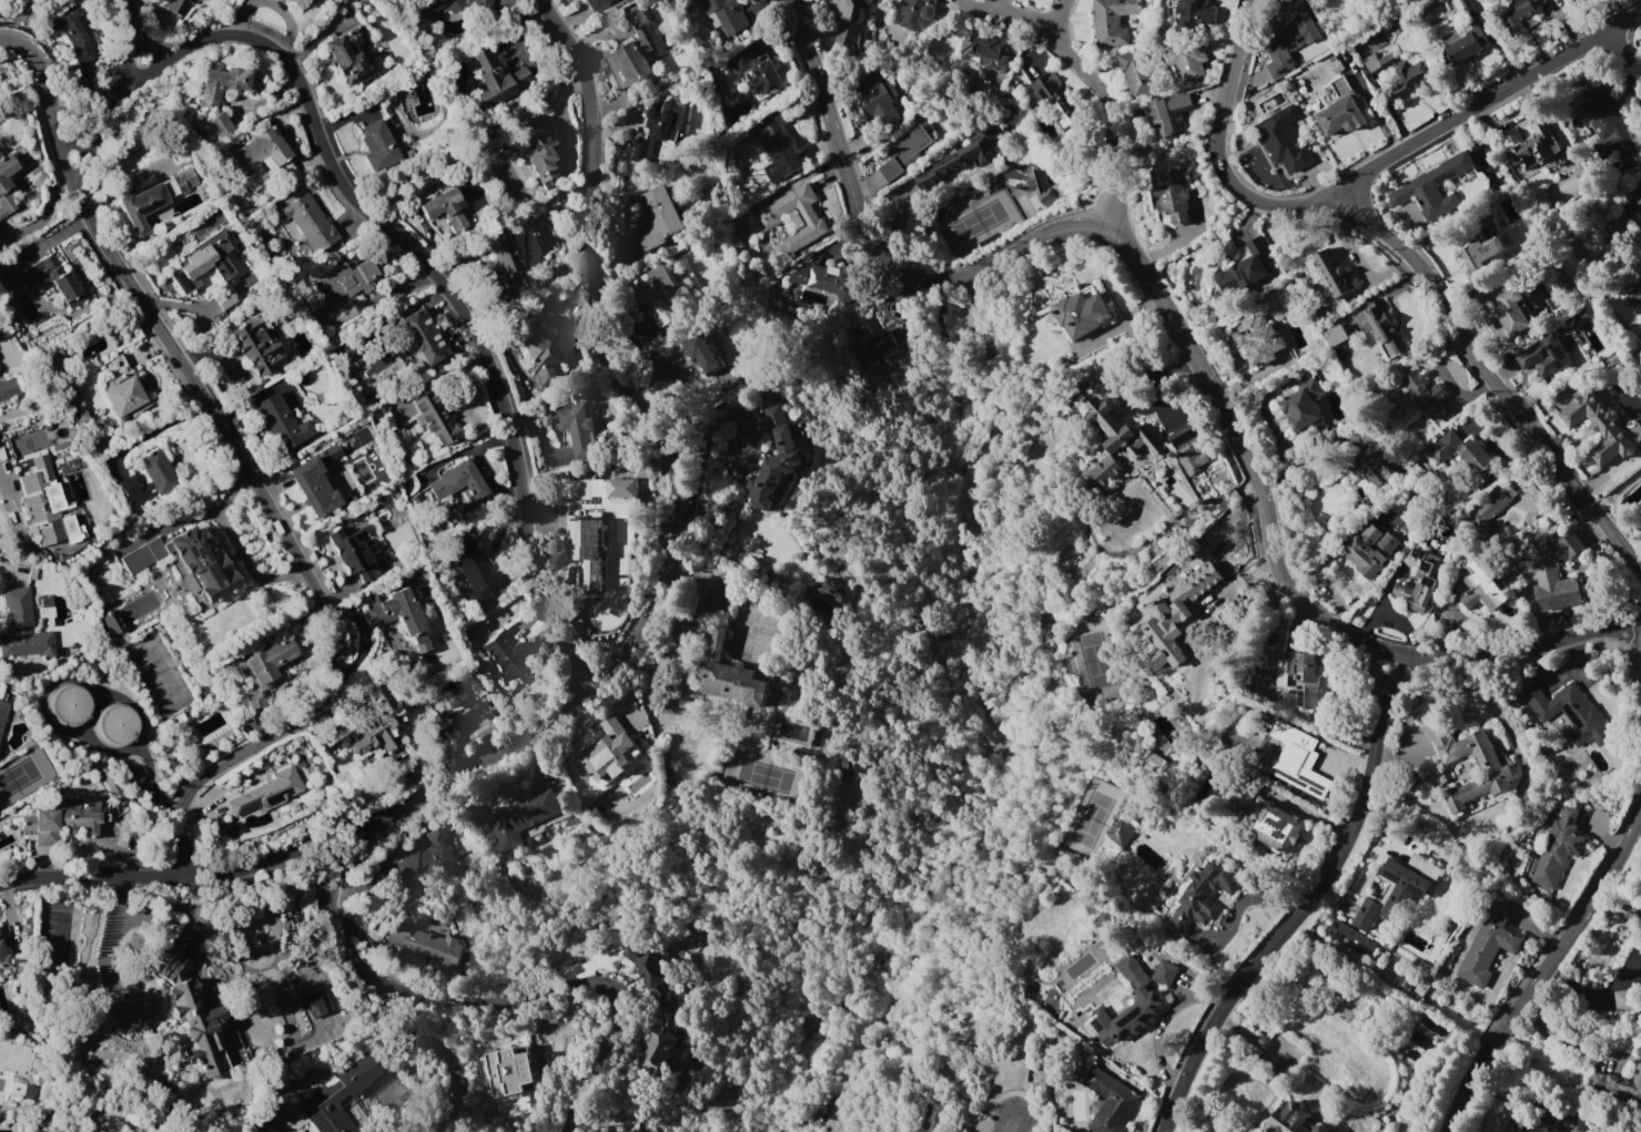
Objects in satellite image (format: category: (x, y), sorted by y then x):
building: (0, 0)
building: (933, 0)
building: (302, 2)
building: (480, 3)
building: (596, 3)
building: (179, 6)
building: (439, 7)
building: (1197, 12)
building: (1518, 13)
building: (913, 14)
building: (722, 17)
road: (1020, 17)
building: (1112, 21)
road: (131, 23)
building: (71, 32)
building: (1467, 35)
building: (1278, 43)
road: (152, 47)
building: (986, 50)
road: (1235, 50)
building: (634, 52)
building: (347, 54)
building: (1377, 61)
building: (1188, 62)
road: (1623, 67)
building: (756, 74)
building: (1128, 74)
building: (494, 78)
building: (1411, 78)
building: (222, 83)
building: (1049, 91)
building: (875, 103)
road: (1491, 106)
building: (1340, 110)
road: (1100, 111)
building: (1169, 111)
building: (1604, 122)
road: (104, 124)
building: (220, 124)
building: (654, 134)
road: (79, 135)
building: (1284, 140)
building: (378, 145)
building: (777, 145)
building: (1533, 147)
building: (537, 149)
building: (906, 149)
building: (262, 150)
building: (958, 159)
building: (6, 184)
building: (1430, 188)
building: (1173, 197)
building: (154, 198)
building: (444, 208)
building: (1634, 214)
building: (657, 217)
building: (769, 218)
building: (308, 221)
road: (1112, 235)
building: (502, 254)
building: (1480, 254)
building: (201, 262)
building: (1244, 271)
building: (1329, 276)
building: (44, 278)
building: (345, 282)
building: (829, 283)
road: (445, 290)
building: (655, 294)
road: (1438, 296)
building: (223, 297)
building: (1081, 312)
building: (1511, 312)
building: (1316, 316)
building: (1382, 329)
building: (424, 335)
building: (1335, 335)
building: (873, 341)
building: (1258, 341)
building: (256, 344)
building: (538, 350)
building: (702, 353)
building: (1547, 354)
building: (8, 387)
building: (1421, 394)
building: (123, 396)
building: (1301, 406)
building: (75, 407)
building: (435, 418)
building: (280, 420)
building: (1107, 426)
building: (1600, 427)
road: (156, 428)
building: (577, 430)
building: (1182, 437)
building: (1142, 443)
building: (1461, 455)
building: (773, 459)
road: (667, 460)
building: (1191, 460)
road: (245, 466)
building: (1371, 467)
building: (156, 471)
building: (1104, 471)
building: (316, 481)
building: (462, 483)
building: (619, 488)
building: (130, 489)
building: (42, 501)
road: (9, 502)
road: (1195, 504)
building: (1490, 507)
road: (191, 516)
road: (1223, 531)
building: (351, 548)
building: (586, 550)
building: (1371, 550)
building: (189, 562)
road: (246, 567)
building: (476, 570)
building: (1553, 571)
road: (1237, 578)
building: (1192, 581)
building: (1427, 581)
building: (1477, 588)
building: (833, 589)
building: (397, 615)
building: (111, 622)
building: (22, 628)
building: (1166, 634)
building: (504, 659)
building: (265, 669)
building: (729, 670)
building: (1305, 677)
building: (68, 704)
water tower: (67, 706)
building: (3, 712)
building: (1568, 713)
building: (386, 716)
building: (114, 722)
water tower: (118, 727)
building: (605, 752)
building: (1294, 759)
building: (1151, 762)
building: (851, 764)
building: (1495, 772)
building: (269, 791)
road: (1363, 791)
road: (1640, 815)
building: (524, 818)
building: (61, 822)
building: (1273, 827)
building: (1120, 834)
building: (1557, 848)
building: (425, 858)
road: (195, 878)
building: (1402, 887)
building: (1201, 897)
building: (1336, 927)
building: (425, 944)
building: (1487, 945)
building: (3, 959)
building: (172, 968)
road: (1539, 969)
building: (1163, 973)
building: (649, 975)
road: (369, 978)
building: (1405, 982)
road: (576, 986)
building: (1027, 989)
building: (1627, 1000)
building: (318, 1003)
building: (1126, 1007)
building: (197, 1029)
road: (1563, 1037)
building: (659, 1043)
building: (510, 1072)
building: (1620, 1083)
building: (1108, 1101)
building: (521, 1102)
building: (330, 1112)
building: (935, 1118)
building: (1289, 1119)
building: (1540, 1119)
road: (1009, 1123)
building: (913, 1131)

